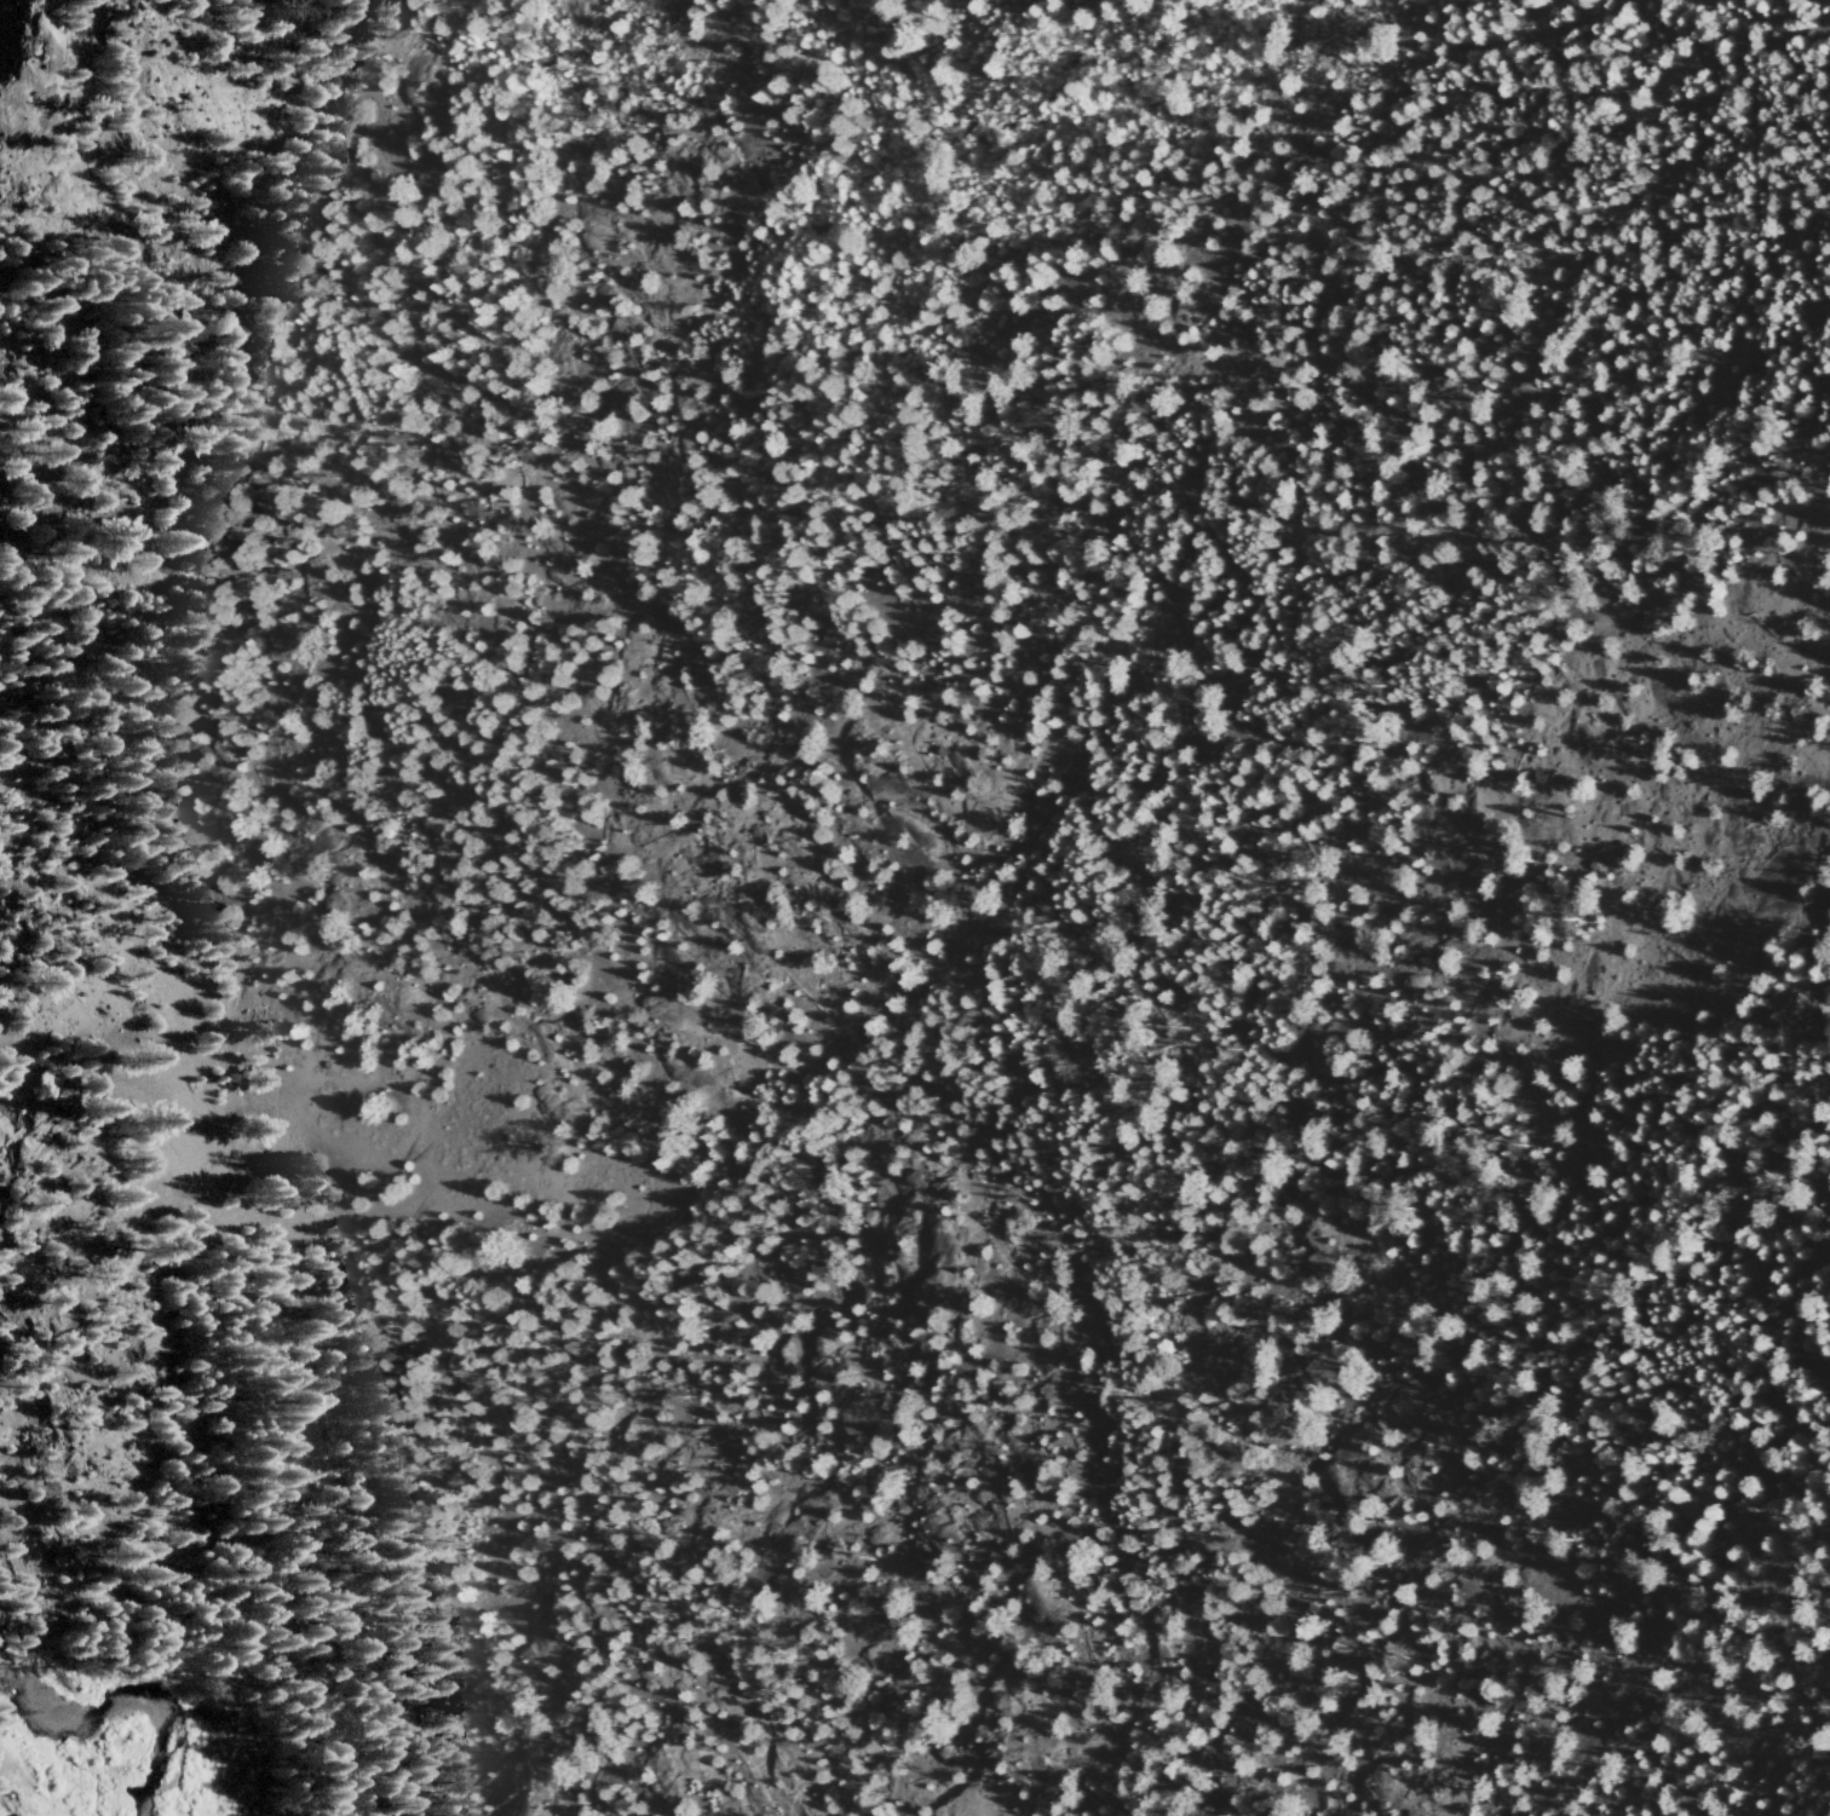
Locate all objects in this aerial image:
river: (122, 1691)

